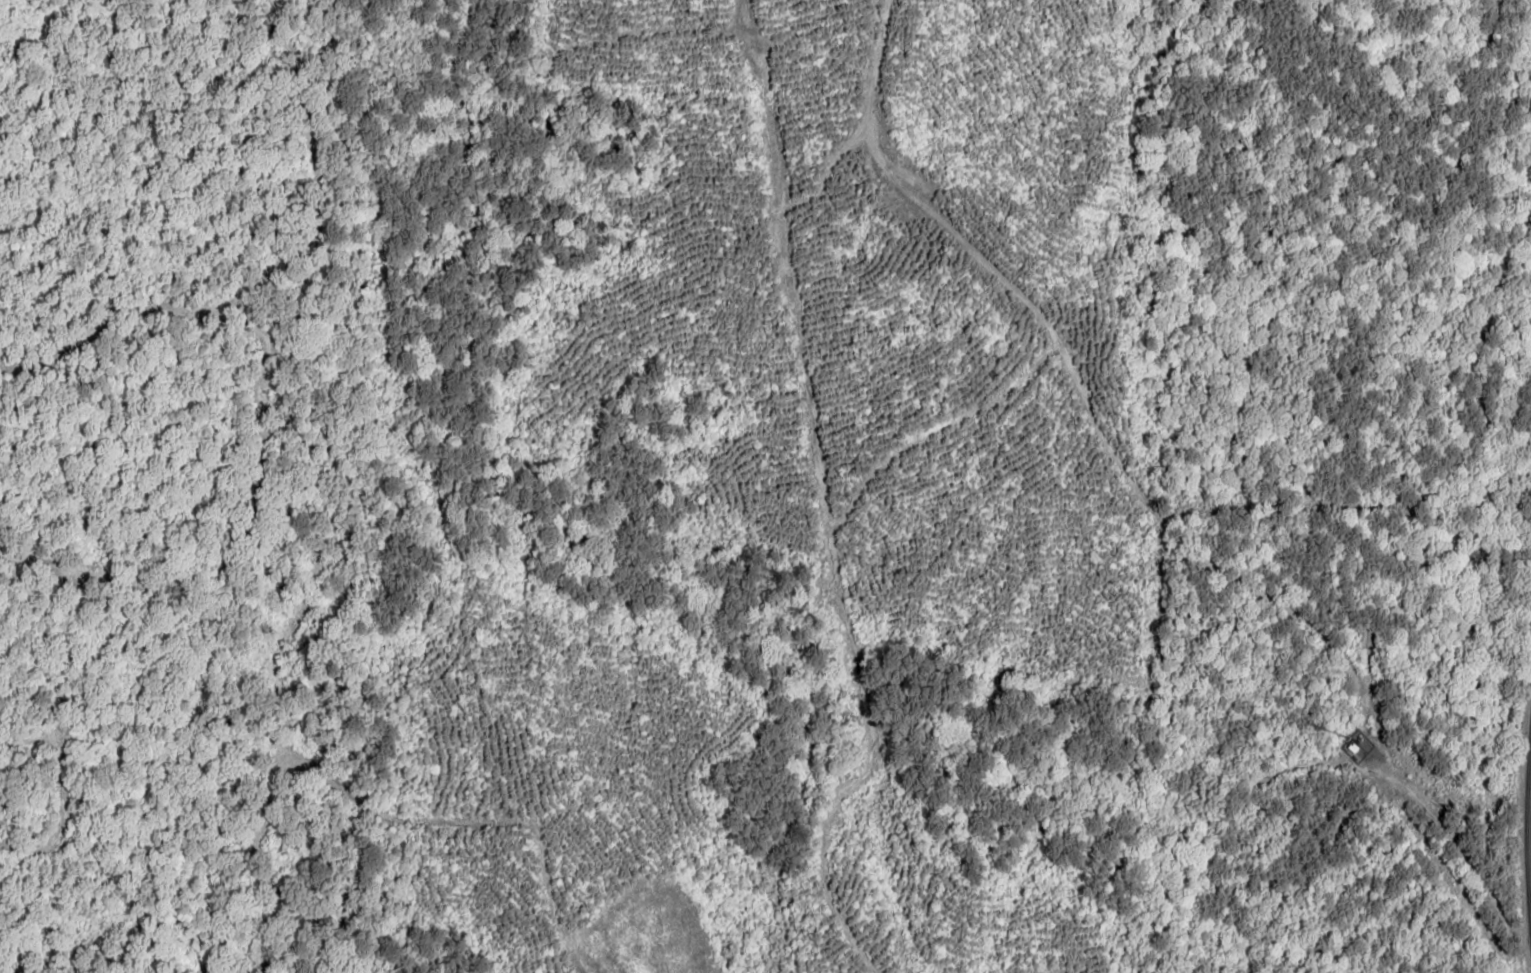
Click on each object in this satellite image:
road: (1513, 852)

